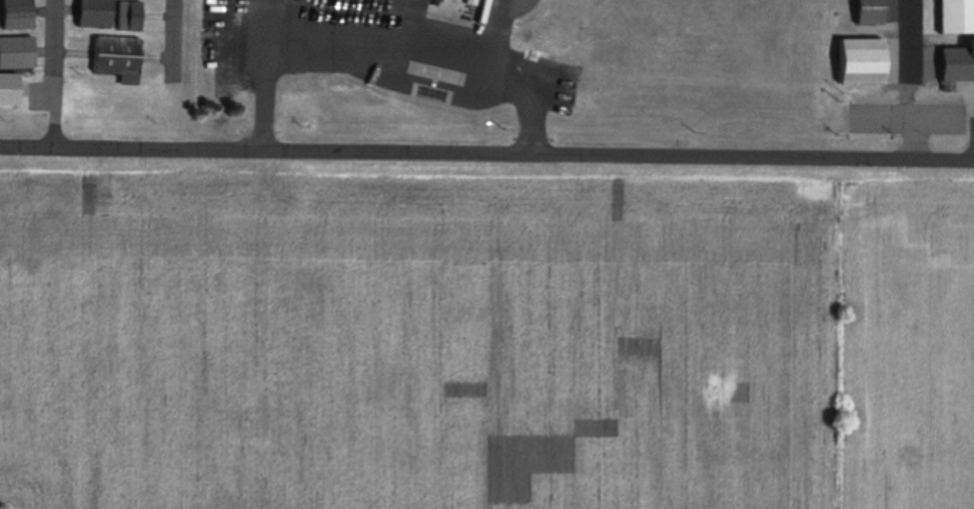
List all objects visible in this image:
airport taxiway: (173, 38)
airport taxiway: (911, 38)
airport taxiway: (54, 57)
airport: (494, 67)
road: (270, 74)
road: (486, 149)

